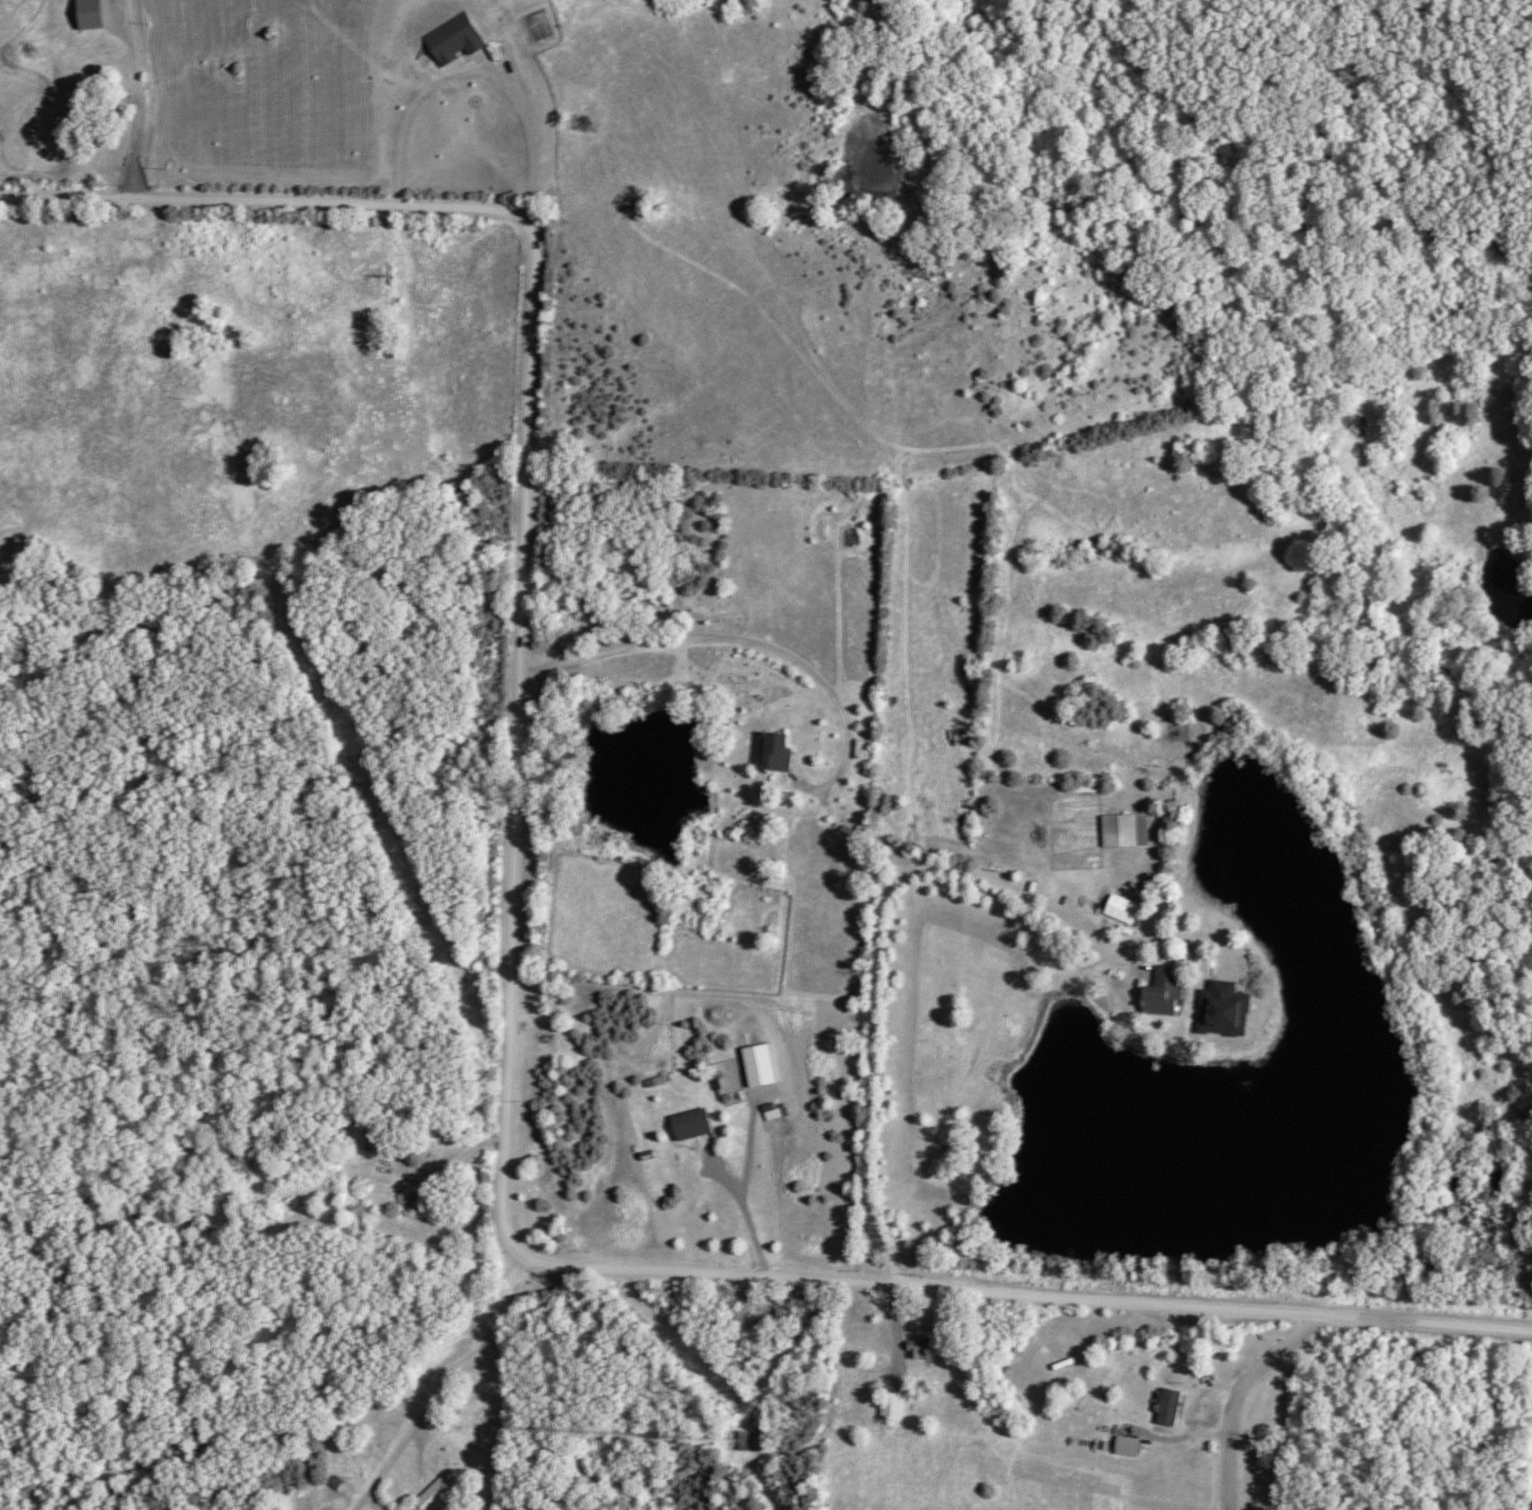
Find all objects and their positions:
building: (93, 15)
building: (457, 42)
road: (475, 72)
road: (135, 100)
road: (763, 649)
building: (781, 751)
building: (866, 751)
building: (1127, 831)
building: (1124, 910)
road: (512, 986)
building: (1165, 993)
road: (875, 1001)
building: (774, 1112)
building: (694, 1125)
building: (370, 1136)
road: (449, 1171)
road: (744, 1215)
building: (926, 1349)
road: (443, 1387)
road: (1229, 1399)
building: (893, 1406)
road: (832, 1407)
building: (1172, 1407)
building: (741, 1441)
building: (434, 1496)

